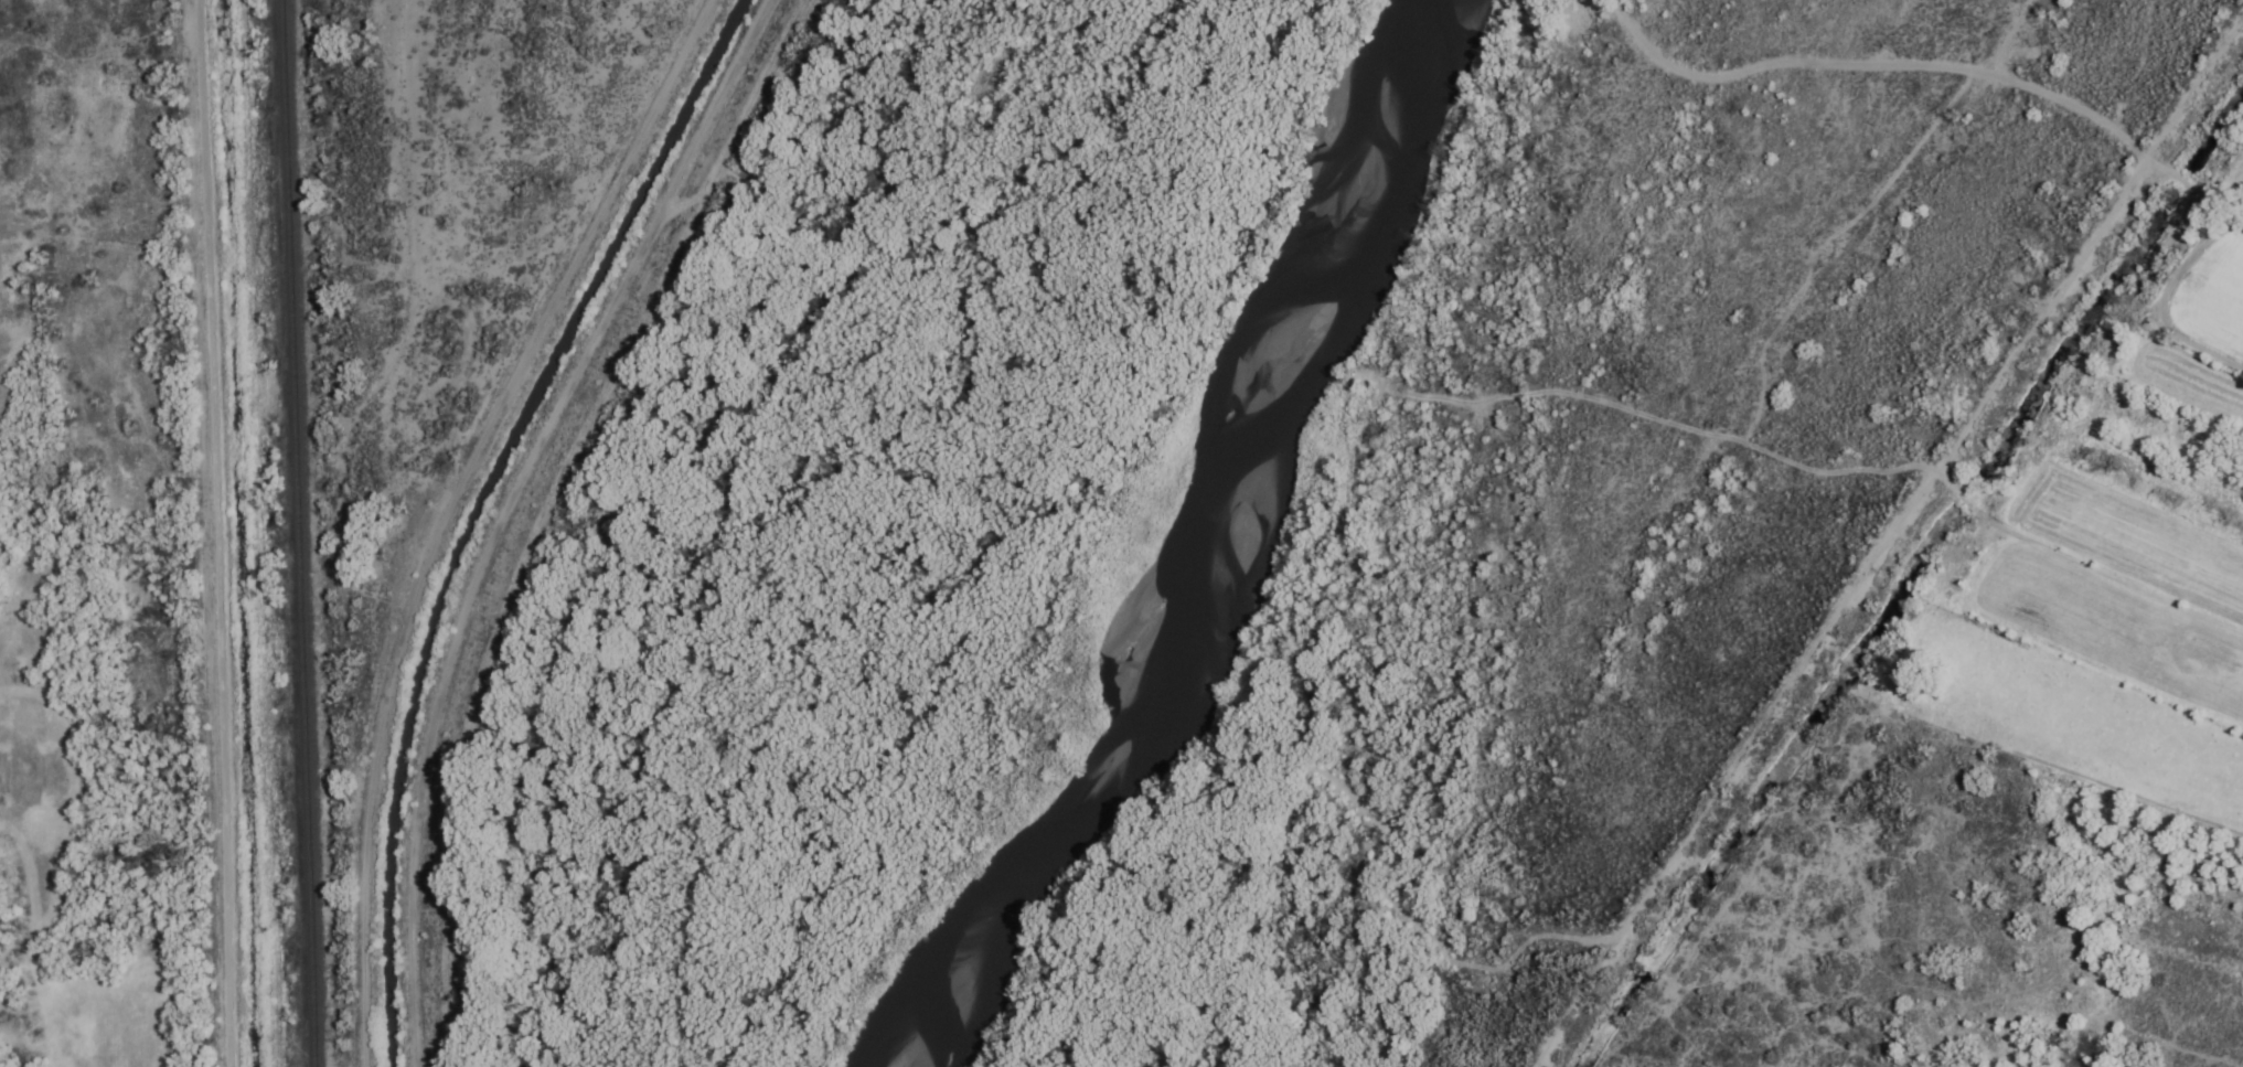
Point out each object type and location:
road: (419, 220)
road: (339, 331)
road: (217, 533)
railway: (305, 533)
river: (1201, 552)
road: (417, 1045)
river: (927, 1049)

